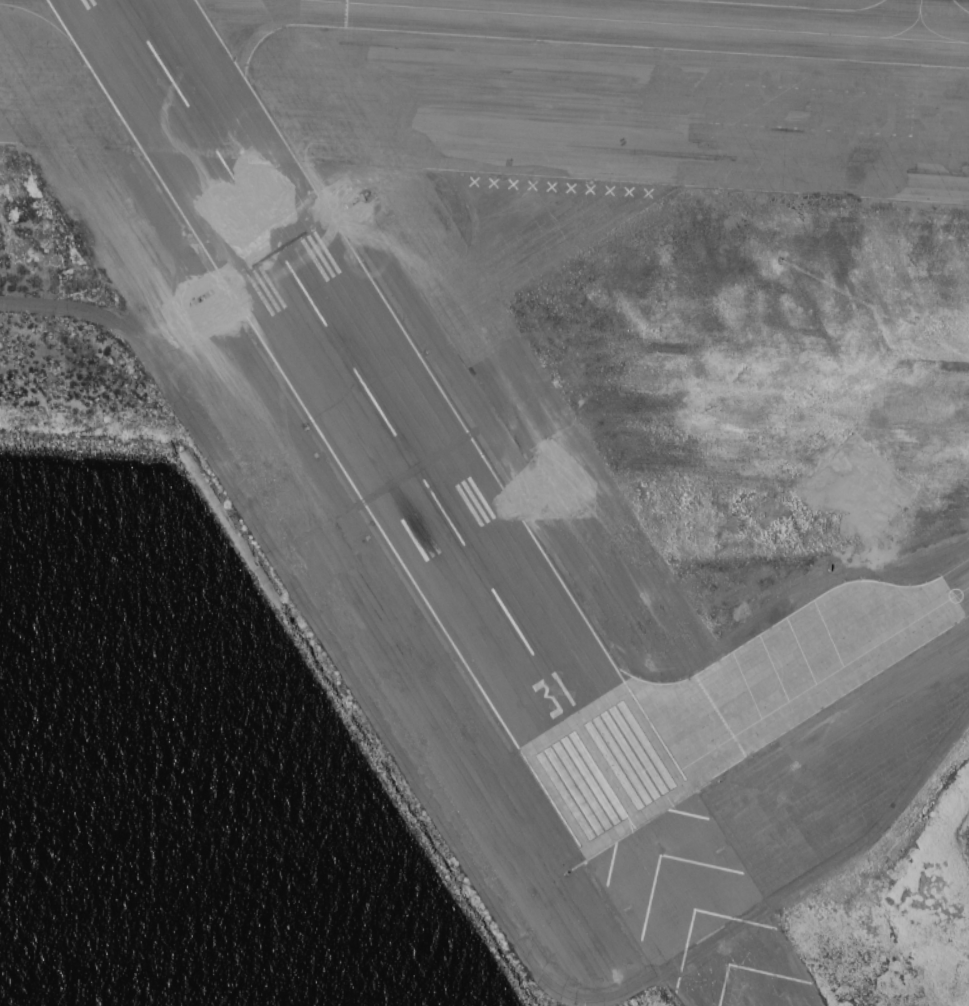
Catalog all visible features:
road: (447, 820)

